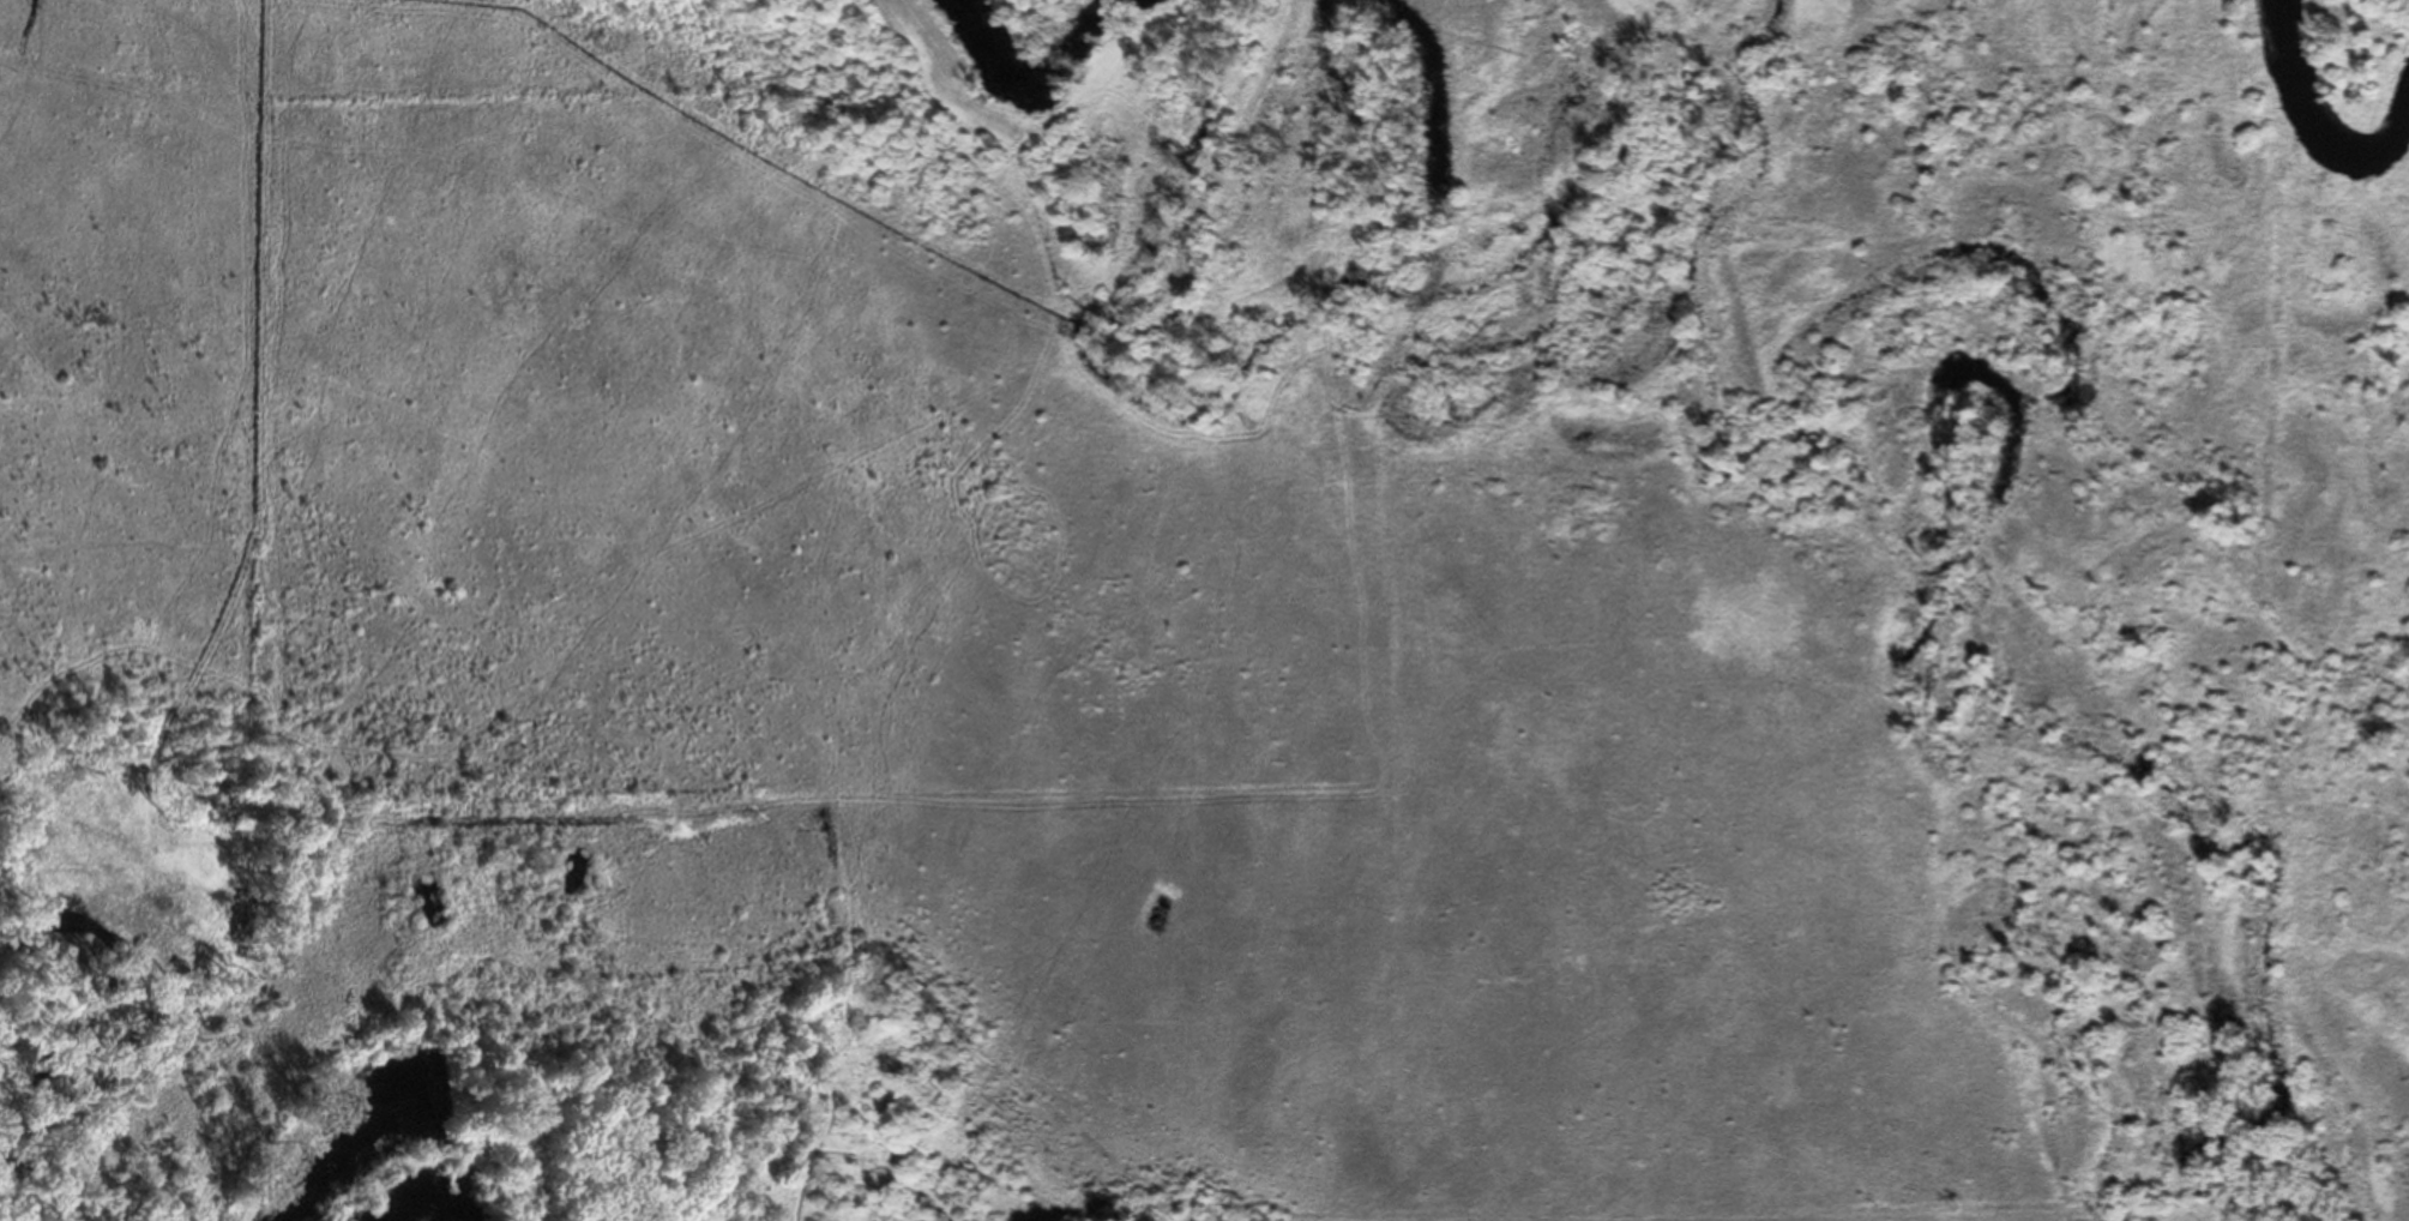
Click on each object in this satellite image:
river: (2315, 114)

